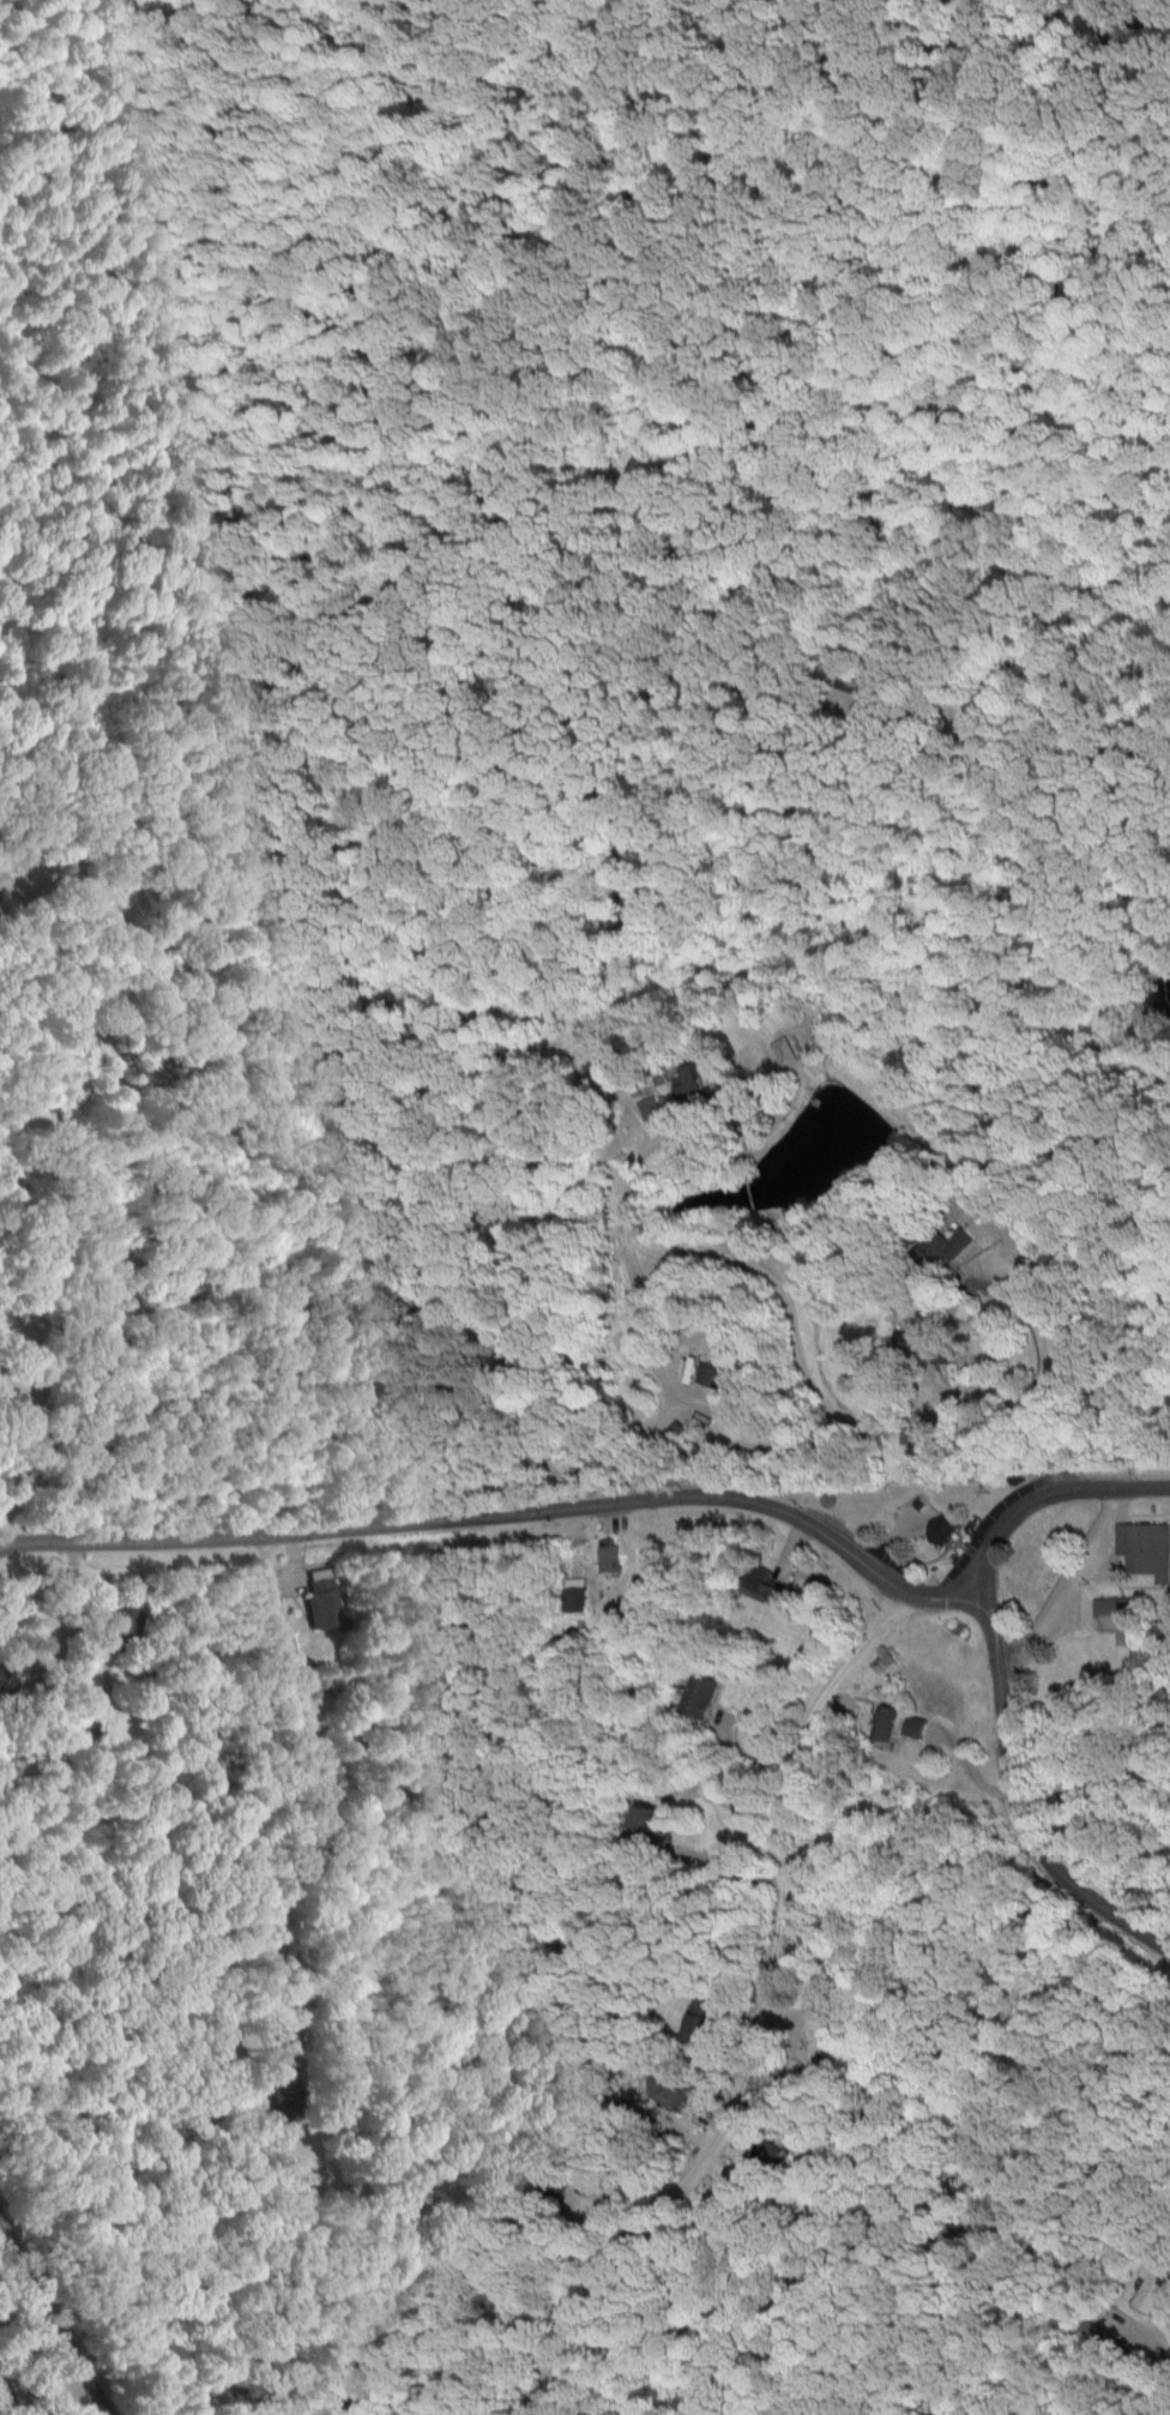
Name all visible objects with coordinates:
building: (786, 1050)
building: (701, 1085)
road: (987, 1206)
building: (961, 1243)
road: (798, 1357)
building: (719, 1375)
road: (40, 1429)
road: (1023, 1507)
road: (469, 1519)
building: (942, 1530)
building: (1146, 1549)
building: (610, 1558)
road: (1067, 1583)
road: (983, 1584)
building: (770, 1591)
road: (886, 1592)
building: (320, 1598)
building: (583, 1601)
building: (1120, 1618)
building: (701, 1697)
building: (915, 1728)
road: (52, 1730)
road: (308, 1763)
road: (1011, 1790)
building: (647, 1819)
road: (760, 2016)
building: (677, 2092)
building: (762, 2157)
road: (50, 2320)
road: (1146, 2368)

